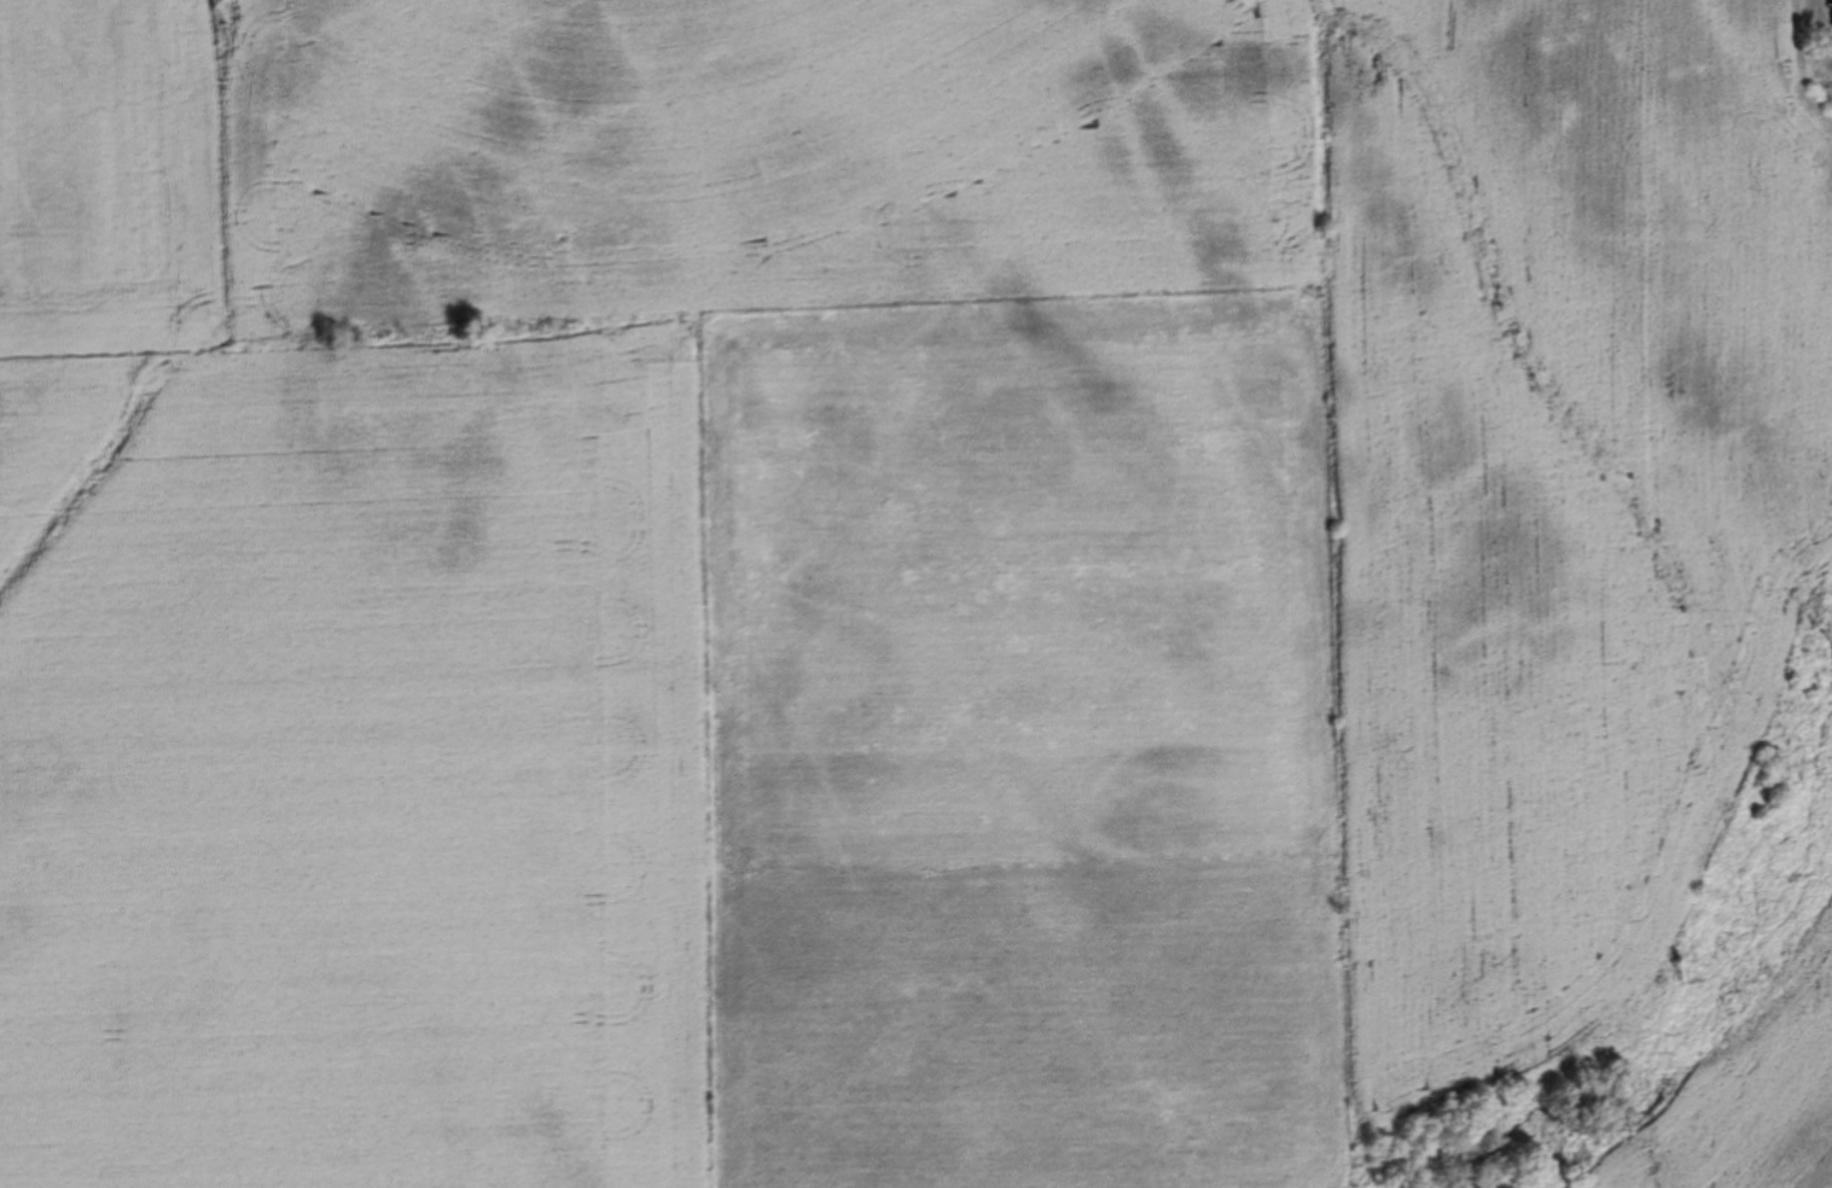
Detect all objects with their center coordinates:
building: (1831, 25)

